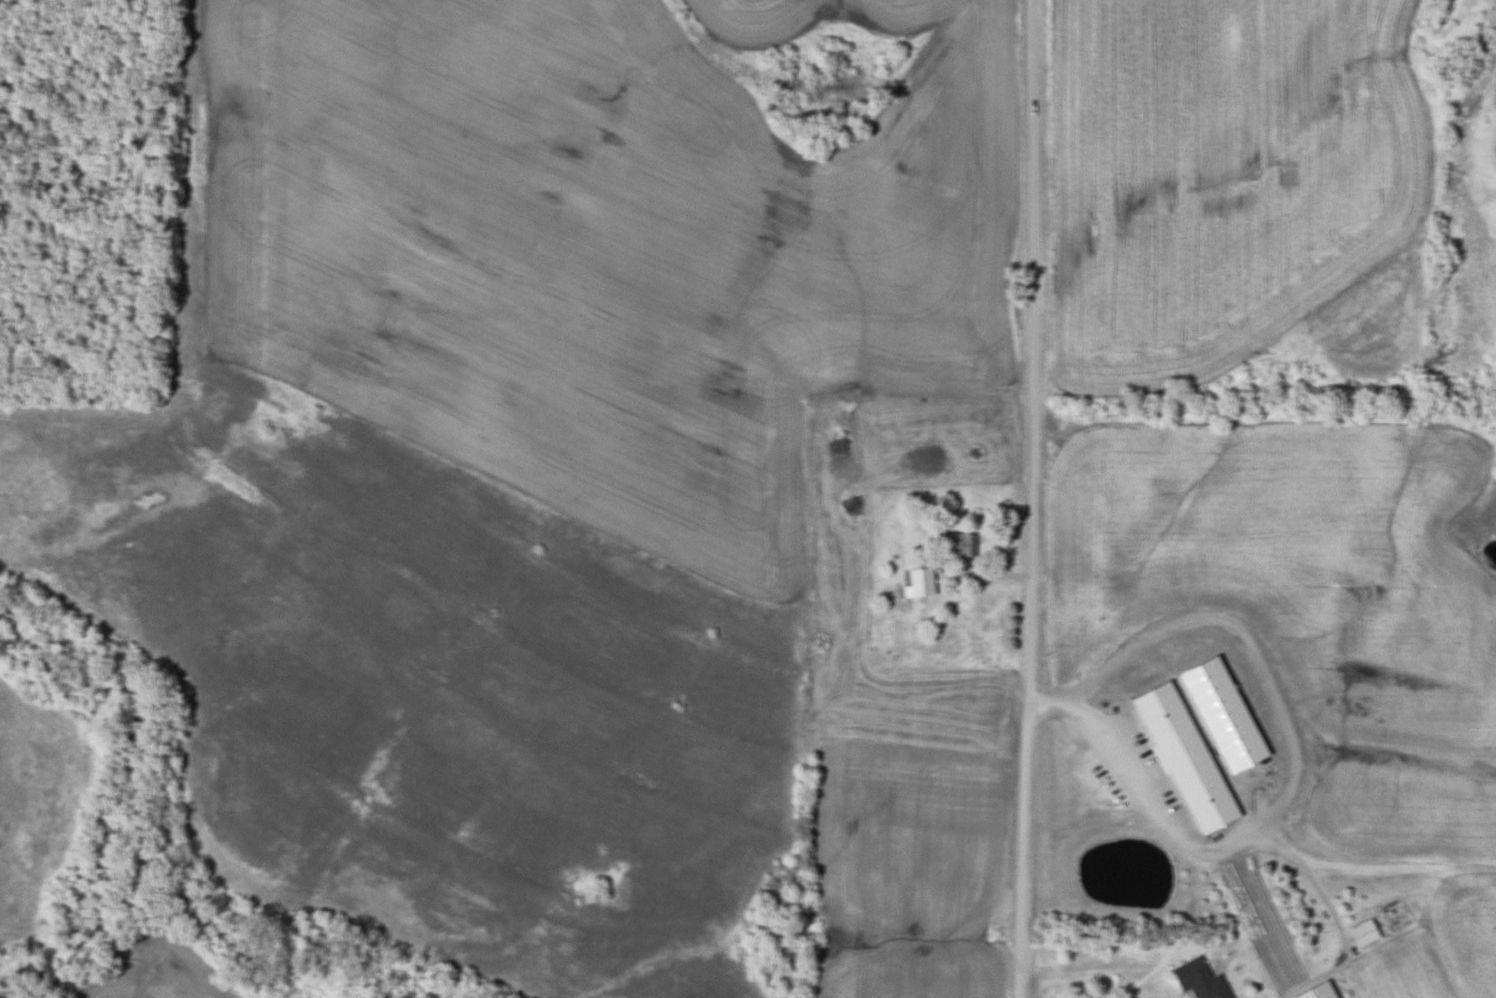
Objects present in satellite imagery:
road: (1034, 499)
building: (958, 543)
building: (920, 581)
building: (1201, 675)
building: (1184, 757)
building: (1362, 933)
building: (1198, 980)
building: (1317, 991)

